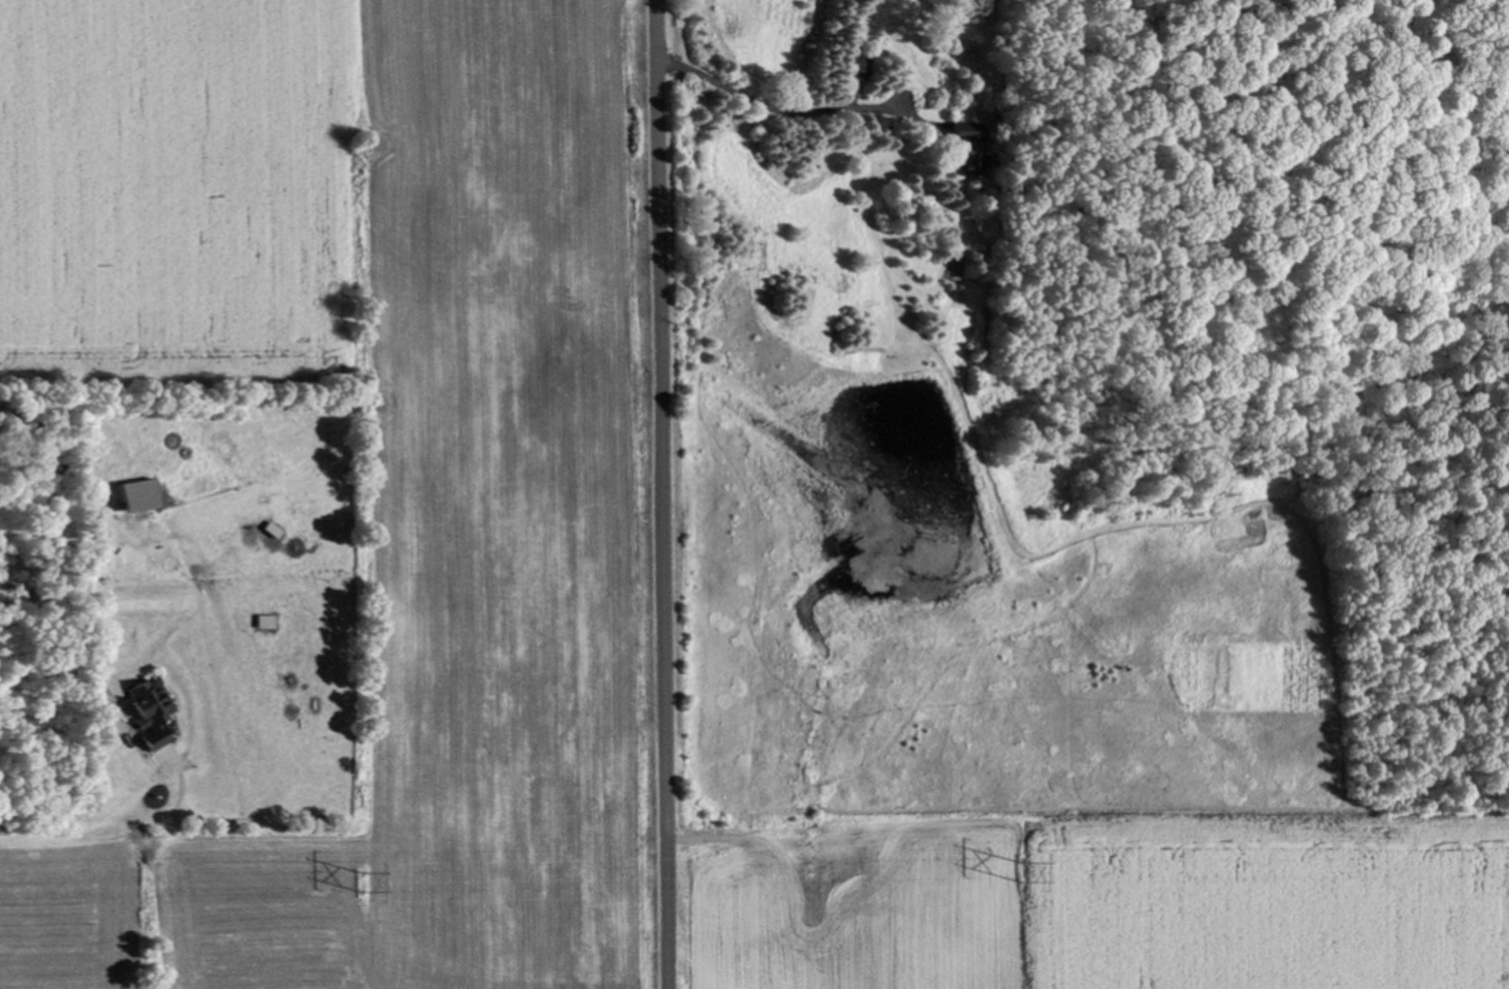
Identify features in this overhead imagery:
building: (859, 69)
road: (791, 110)
building: (967, 148)
road: (662, 494)
building: (137, 496)
building: (148, 713)
power tower: (1027, 872)
power tower: (363, 883)

